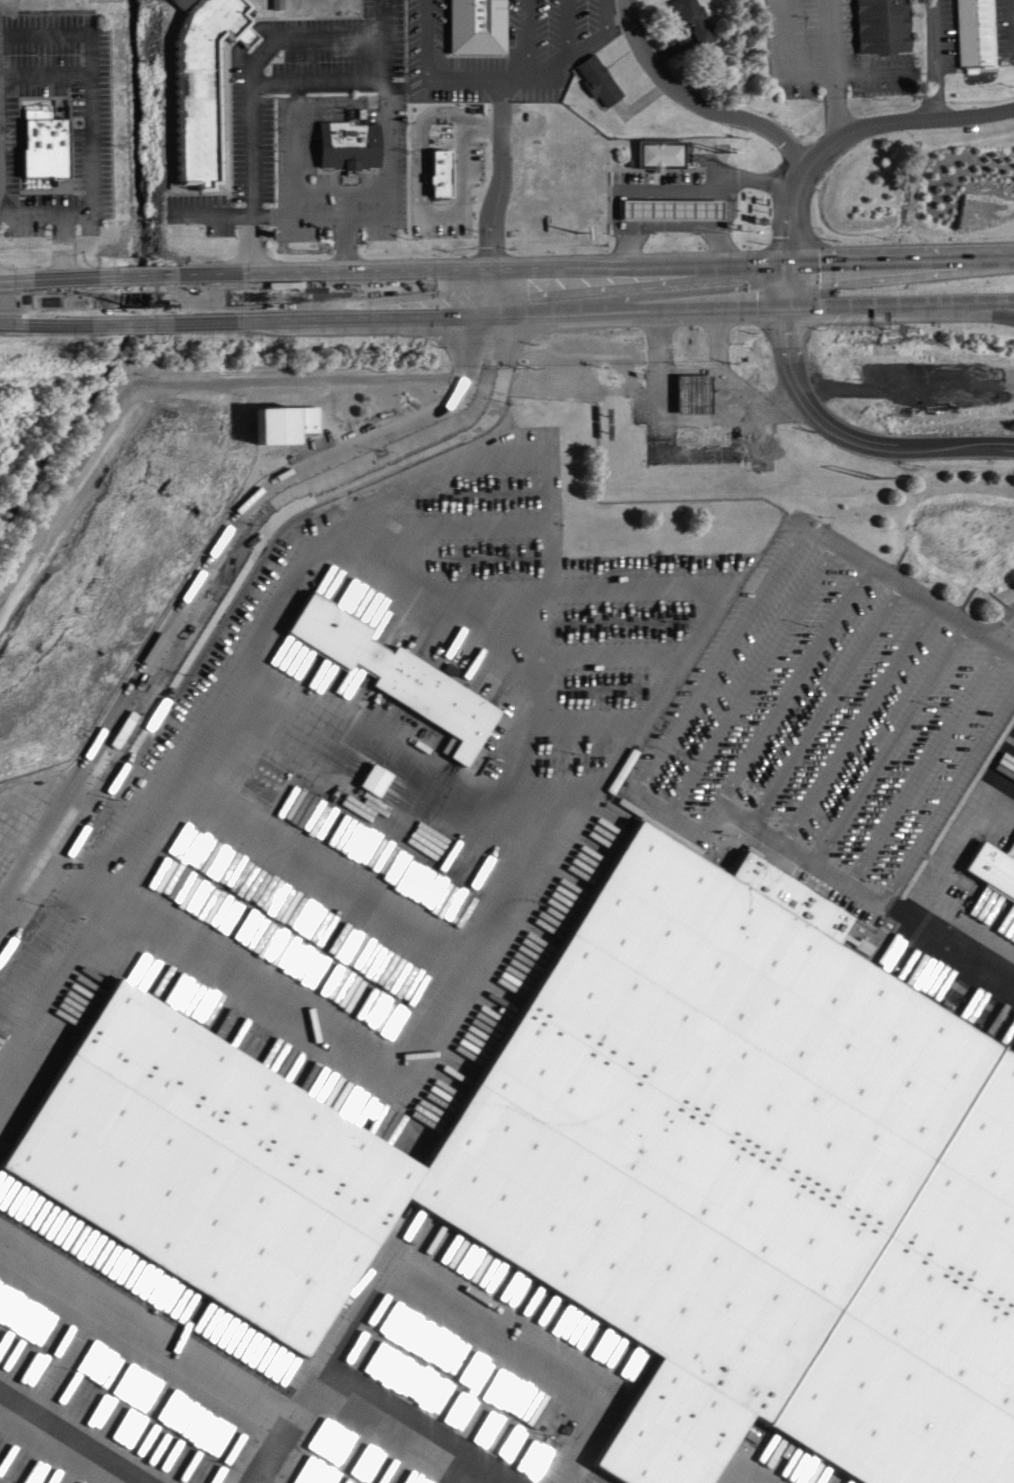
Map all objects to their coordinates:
building: (184, 2)
building: (699, 19)
building: (482, 26)
building: (888, 26)
building: (981, 33)
road: (934, 60)
building: (604, 79)
road: (323, 85)
building: (202, 86)
road: (698, 103)
road: (98, 119)
road: (858, 131)
building: (345, 134)
building: (43, 135)
building: (659, 155)
building: (445, 171)
building: (442, 204)
building: (669, 209)
road: (34, 211)
traffic signals: (789, 260)
road: (506, 270)
traffic signals: (494, 271)
traffic signals: (789, 308)
road: (507, 313)
traffic signals: (496, 314)
road: (944, 316)
building: (292, 422)
road: (835, 427)
road: (1003, 640)
building: (402, 674)
building: (381, 779)
road: (47, 842)
building: (994, 874)
building: (630, 1164)

